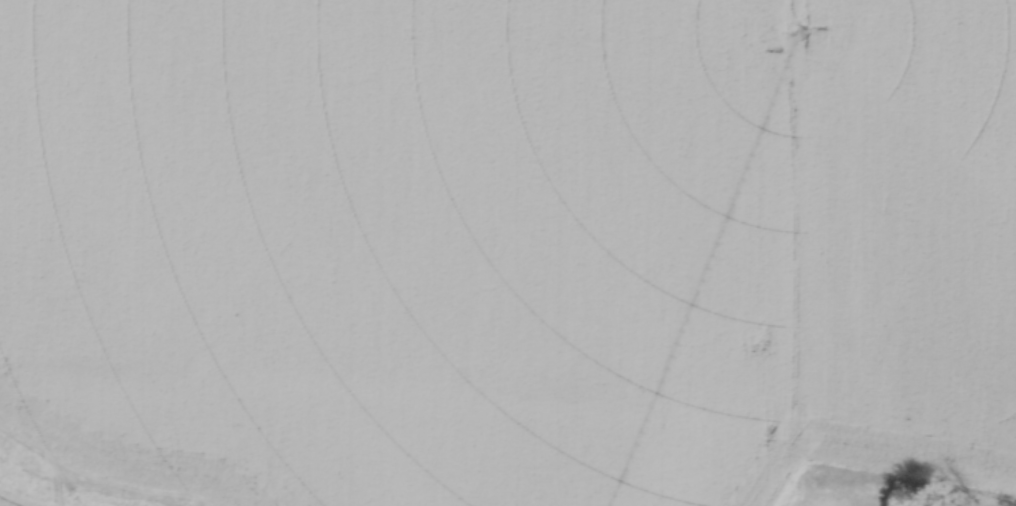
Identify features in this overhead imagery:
crop: (509, 244)

